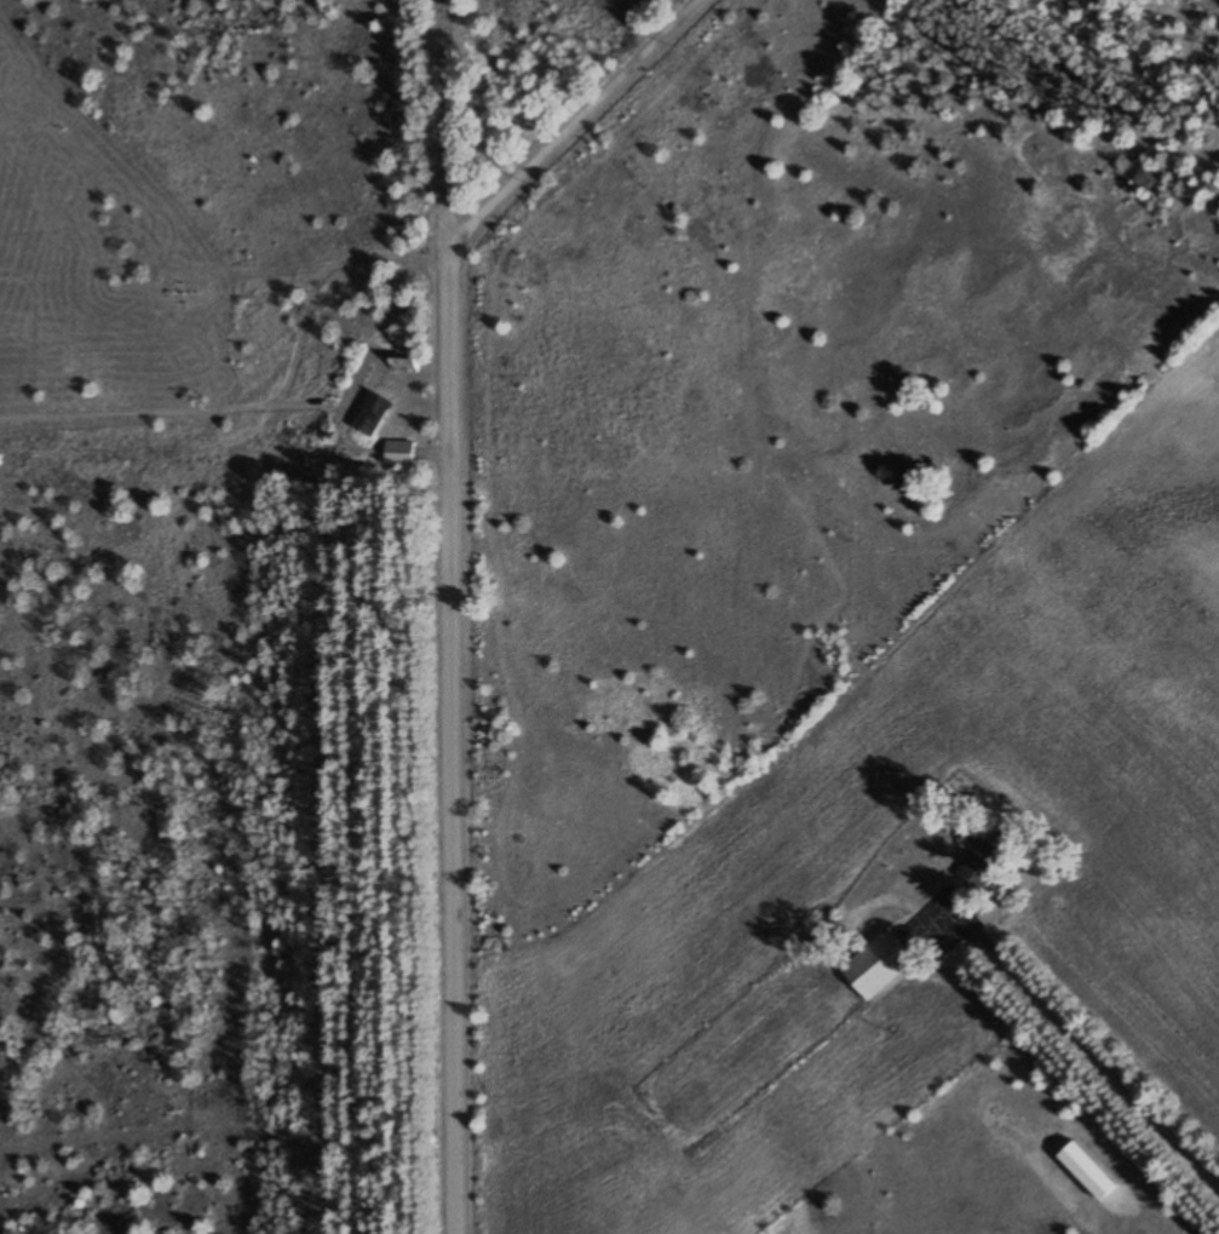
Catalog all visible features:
road: (573, 120)
building: (404, 365)
building: (374, 413)
airport: (166, 569)
road: (450, 616)
building: (981, 863)
building: (876, 965)

